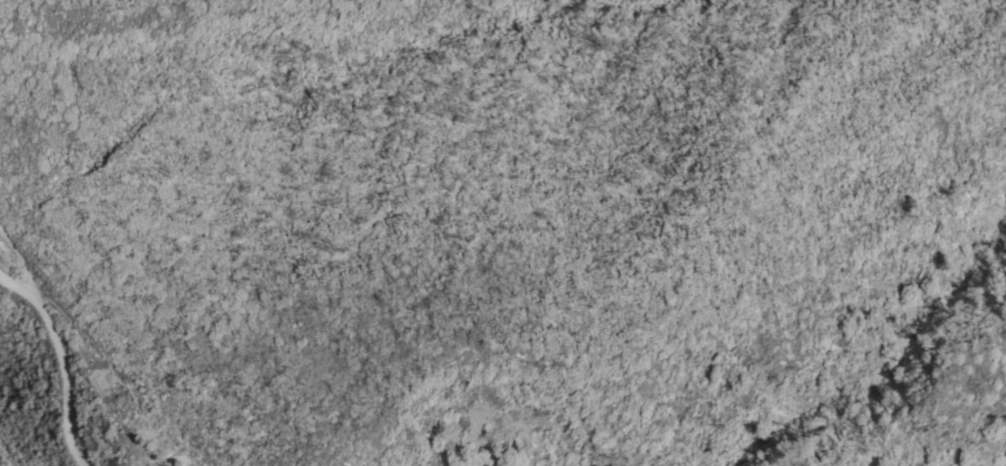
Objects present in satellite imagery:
road: (19, 254)
road: (86, 333)
road: (62, 358)

